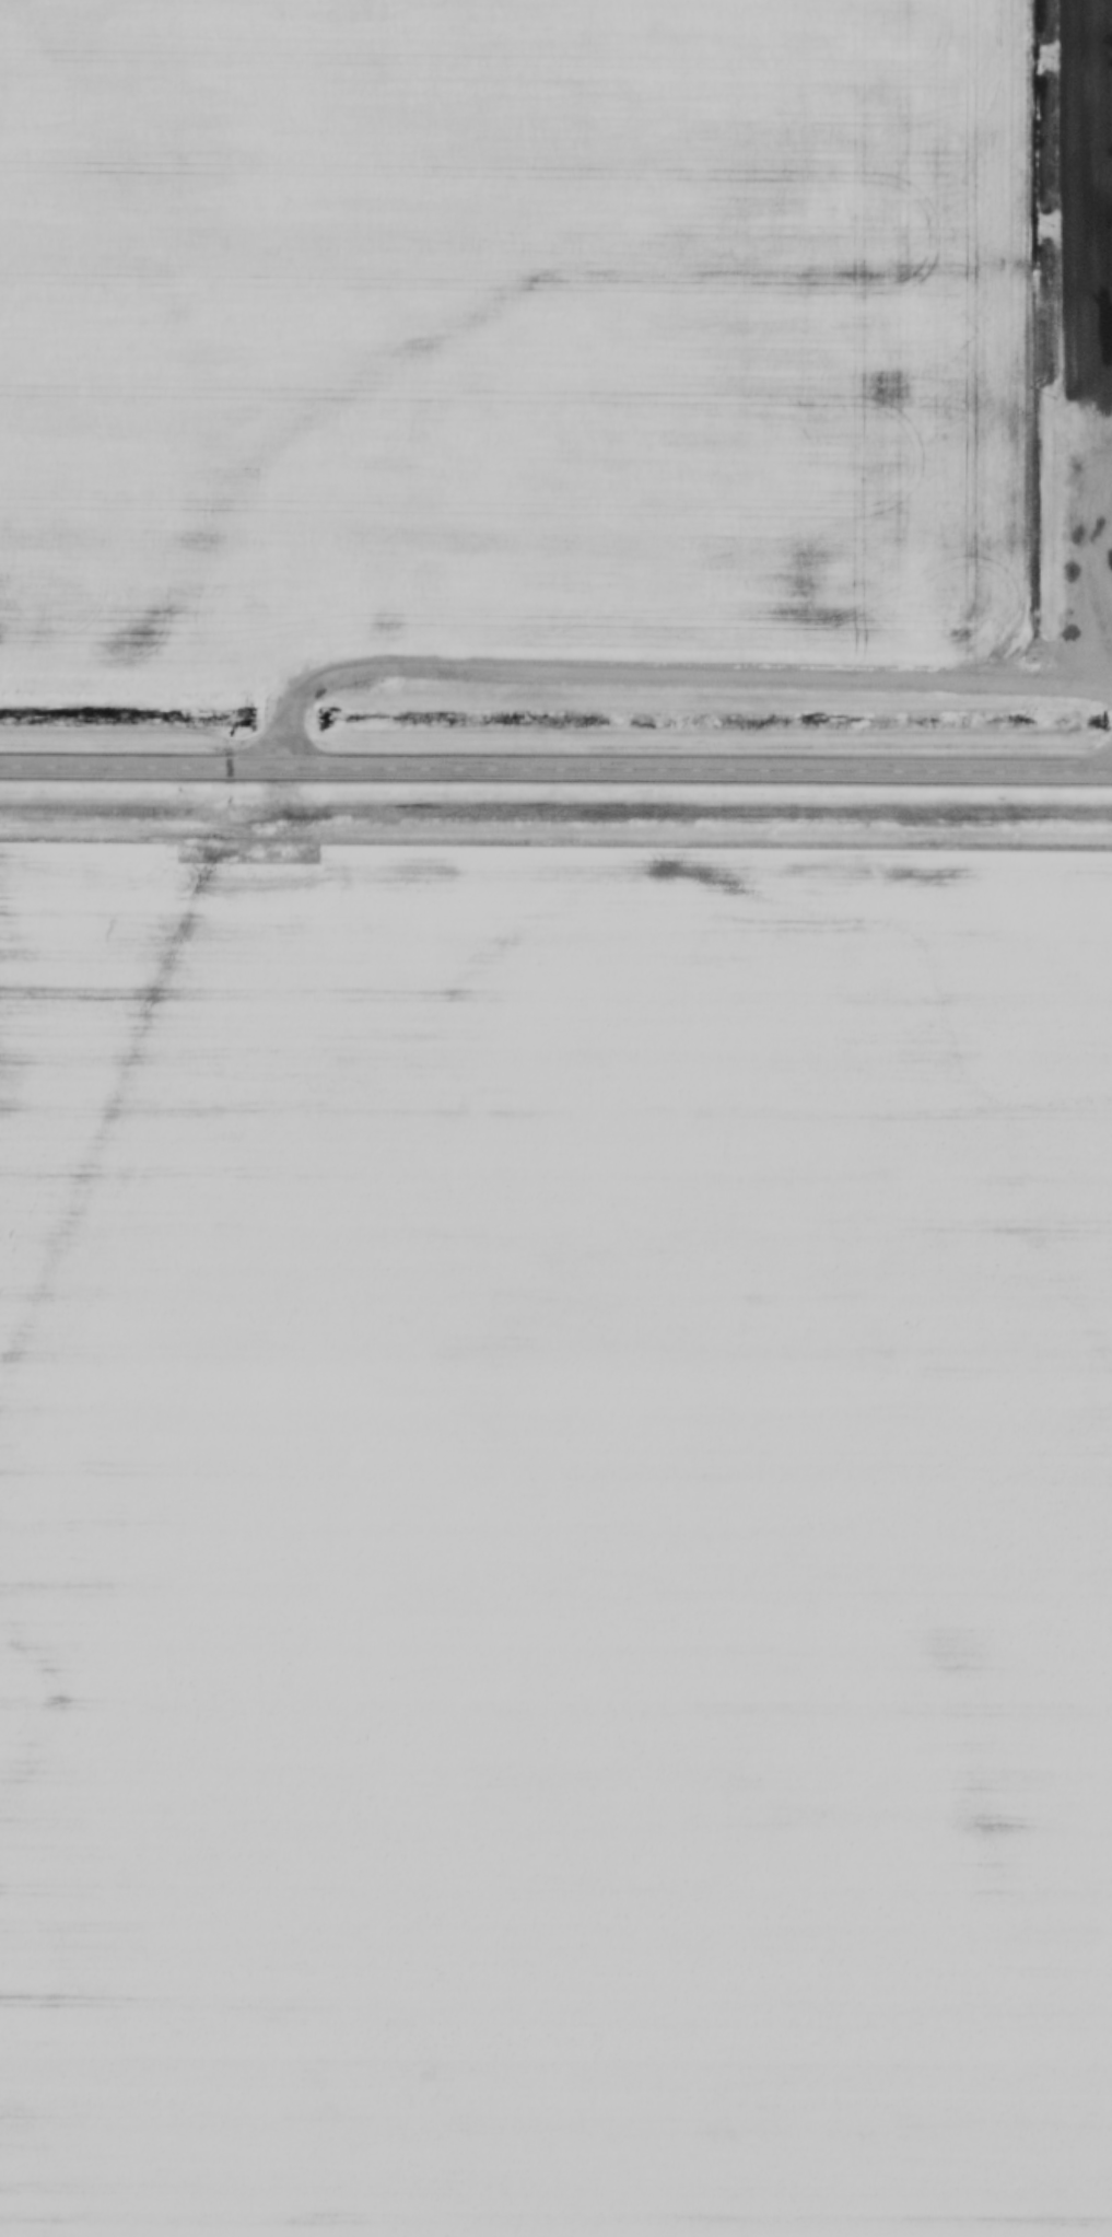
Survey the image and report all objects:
road: (555, 771)

